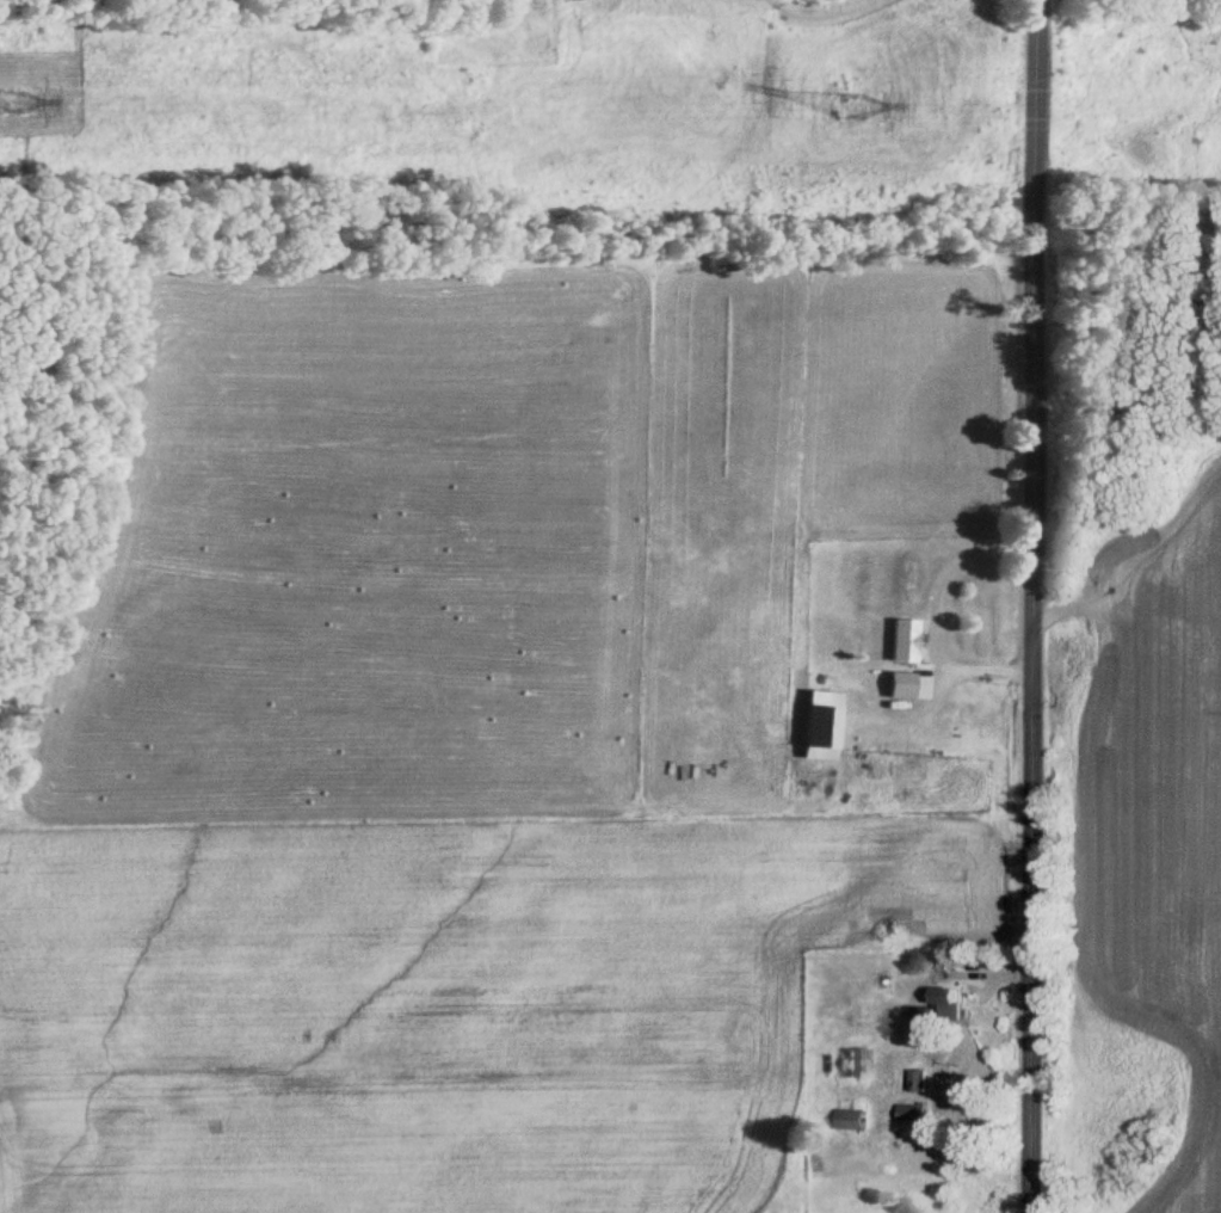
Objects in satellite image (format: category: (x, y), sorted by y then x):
power tower: (6, 96)
power tower: (845, 101)
road: (1029, 606)
building: (902, 640)
building: (900, 685)
building: (820, 726)
crop: (468, 727)
crop: (1153, 830)
building: (946, 1006)
building: (857, 1063)
building: (920, 1082)
building: (913, 1113)
building: (853, 1120)

